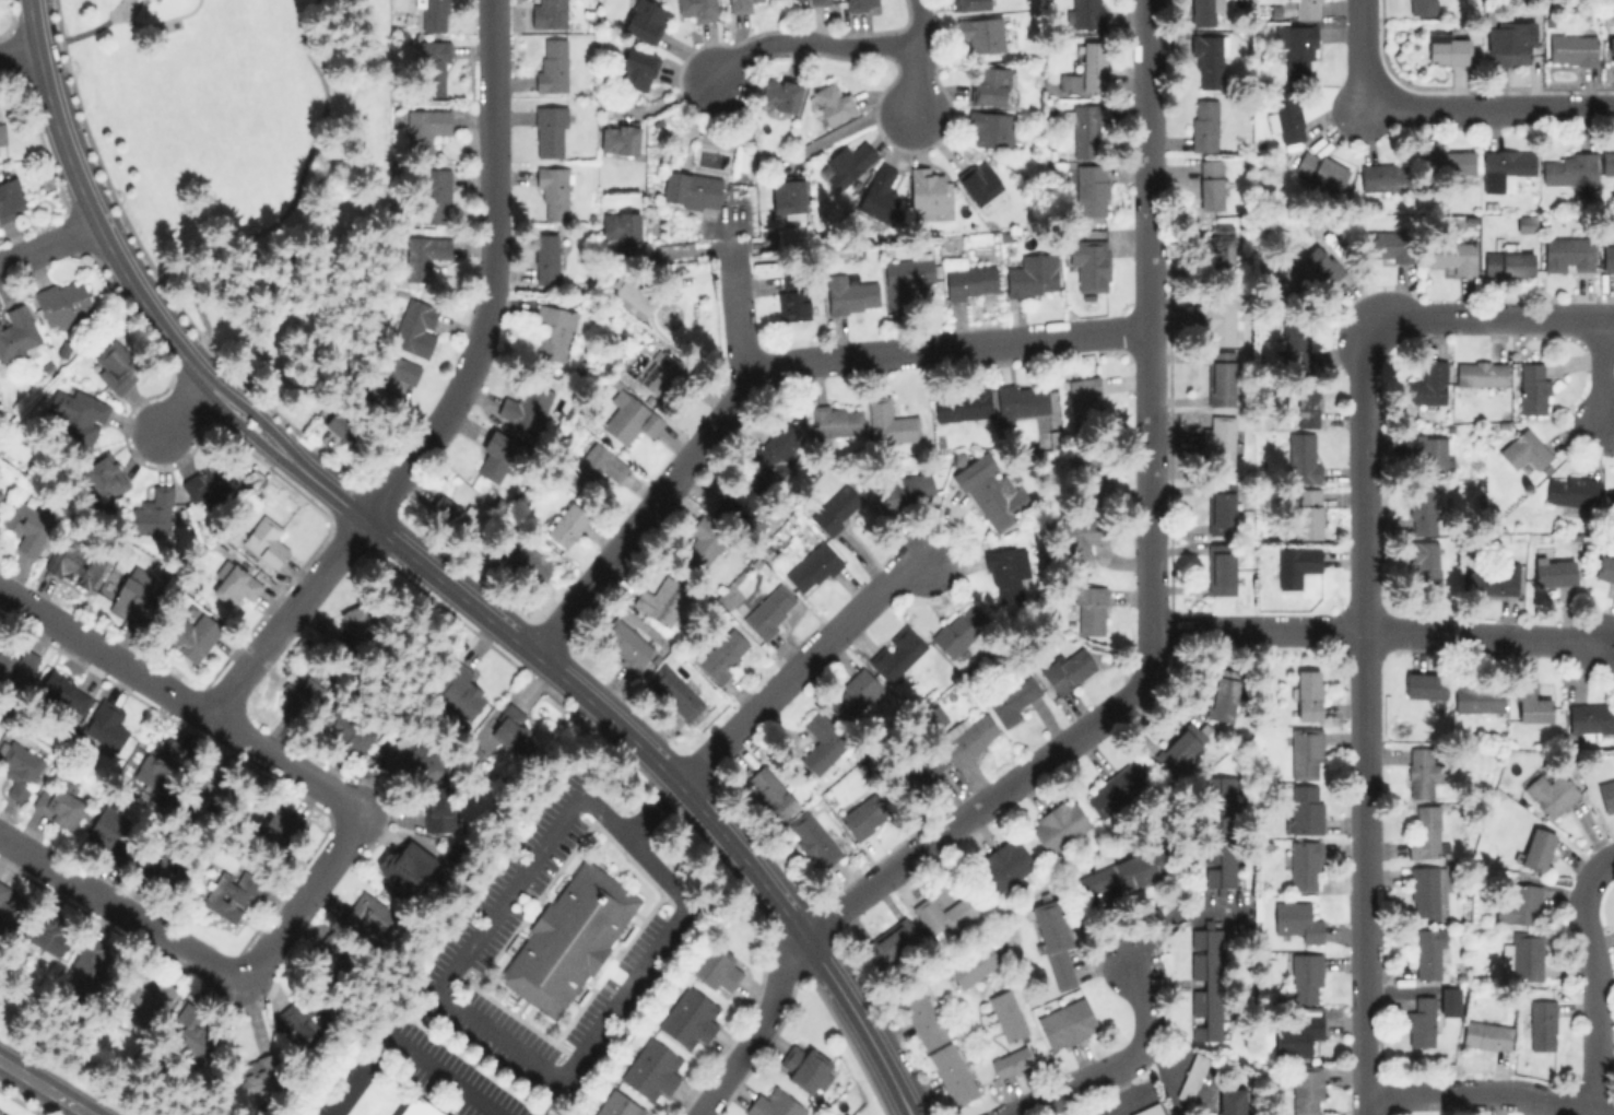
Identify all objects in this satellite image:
building: (809, 1)
building: (740, 4)
building: (859, 4)
building: (970, 4)
building: (1419, 7)
building: (695, 9)
building: (1307, 9)
building: (1203, 11)
building: (552, 12)
building: (1084, 13)
building: (433, 14)
building: (644, 20)
road: (83, 31)
building: (980, 33)
road: (813, 42)
building: (1510, 43)
building: (1296, 45)
building: (1447, 47)
building: (1571, 48)
building: (1611, 49)
road: (1357, 50)
road: (17, 57)
road: (918, 58)
building: (1207, 59)
building: (552, 64)
building: (433, 68)
building: (636, 68)
building: (1086, 70)
road: (1148, 77)
building: (989, 84)
building: (779, 93)
building: (832, 101)
road: (1491, 109)
building: (1287, 115)
building: (1203, 125)
building: (990, 127)
building: (424, 128)
building: (550, 130)
building: (1085, 130)
building: (2, 133)
building: (618, 137)
building: (1607, 161)
building: (1449, 162)
building: (847, 163)
building: (1505, 167)
park: (250, 169)
building: (1320, 169)
building: (1571, 171)
road: (301, 176)
building: (1383, 176)
building: (979, 183)
building: (1210, 183)
building: (1088, 187)
building: (691, 189)
building: (926, 189)
building: (552, 190)
building: (879, 192)
building: (435, 195)
building: (787, 196)
building: (11, 198)
building: (621, 226)
building: (1221, 244)
road: (47, 245)
building: (1388, 245)
building: (1568, 254)
building: (1451, 255)
building: (427, 256)
building: (545, 258)
building: (1607, 258)
building: (1089, 262)
building: (1507, 262)
building: (1318, 266)
building: (1033, 274)
building: (906, 278)
road: (490, 280)
building: (969, 280)
building: (850, 292)
road: (730, 294)
building: (794, 296)
road: (136, 297)
building: (632, 300)
building: (63, 303)
building: (1217, 316)
road: (1489, 316)
building: (416, 327)
building: (16, 331)
building: (551, 332)
building: (1294, 337)
road: (947, 353)
building: (116, 366)
road: (1600, 368)
building: (1221, 373)
building: (1480, 373)
building: (394, 374)
building: (662, 375)
building: (1427, 383)
building: (1532, 387)
road: (1152, 390)
building: (1084, 392)
building: (1022, 400)
building: (962, 403)
building: (526, 404)
building: (1307, 406)
road: (184, 409)
building: (76, 414)
building: (628, 418)
building: (893, 418)
building: (834, 420)
building: (346, 426)
building: (1218, 441)
building: (777, 447)
building: (1427, 449)
building: (1524, 449)
building: (1301, 456)
building: (494, 457)
building: (598, 465)
building: (104, 474)
building: (209, 484)
building: (1093, 485)
building: (904, 490)
building: (1571, 490)
building: (0, 491)
building: (989, 491)
building: (1610, 495)
building: (740, 497)
building: (1221, 507)
building: (1422, 507)
building: (835, 508)
building: (152, 512)
road: (636, 513)
building: (1309, 513)
building: (445, 514)
building: (566, 524)
building: (27, 526)
building: (1083, 535)
building: (264, 541)
building: (702, 542)
building: (1424, 560)
building: (74, 561)
building: (528, 561)
building: (813, 564)
building: (1295, 564)
building: (1221, 567)
building: (1604, 567)
building: (1553, 570)
building: (1006, 571)
building: (1492, 578)
building: (234, 583)
building: (130, 596)
building: (660, 600)
building: (1089, 609)
building: (770, 611)
road: (283, 620)
building: (364, 622)
road: (1257, 631)
building: (954, 634)
building: (192, 635)
road: (1480, 637)
building: (625, 643)
building: (723, 654)
building: (895, 654)
road: (800, 667)
building: (16, 668)
building: (1068, 669)
road: (1145, 673)
building: (1424, 685)
building: (302, 688)
building: (457, 690)
building: (64, 691)
building: (674, 691)
building: (1224, 692)
building: (855, 693)
building: (1307, 693)
building: (1478, 699)
building: (1012, 700)
road: (180, 703)
building: (1532, 705)
building: (1591, 717)
road: (1363, 720)
building: (106, 725)
building: (346, 730)
building: (511, 730)
building: (968, 738)
building: (822, 742)
building: (1177, 750)
building: (1305, 752)
building: (412, 759)
building: (170, 760)
building: (19, 767)
building: (919, 770)
building: (1421, 771)
road: (675, 782)
building: (213, 791)
building: (770, 791)
building: (1111, 793)
building: (1551, 793)
building: (1606, 794)
building: (58, 803)
building: (437, 808)
road: (651, 808)
building: (1304, 809)
building: (864, 815)
road: (959, 821)
building: (282, 824)
building: (110, 825)
building: (1058, 825)
building: (1220, 832)
building: (1425, 833)
building: (813, 840)
building: (1536, 847)
building: (169, 865)
building: (404, 865)
building: (1003, 865)
building: (1304, 865)
road: (1598, 866)
building: (1121, 872)
building: (1427, 891)
building: (231, 894)
building: (1519, 904)
building: (7, 909)
road: (1176, 913)
building: (944, 915)
building: (368, 917)
building: (1296, 920)
road: (668, 925)
building: (49, 936)
building: (568, 940)
building: (1053, 940)
parking lot: (470, 941)
building: (514, 944)
building: (887, 944)
building: (1430, 951)
road: (464, 954)
building: (1522, 955)
building: (337, 956)
building: (94, 963)
building: (974, 964)
road: (208, 966)
building: (718, 967)
building: (1305, 977)
building: (1205, 978)
building: (148, 996)
road: (1599, 996)
building: (1449, 1000)
building: (1006, 1014)
building: (688, 1017)
building: (301, 1018)
building: (922, 1018)
building: (1065, 1022)
building: (1419, 1022)
building: (1541, 1024)
road: (756, 1028)
building: (196, 1032)
building: (1486, 1034)
building: (1297, 1035)
road: (404, 1048)
road: (475, 1057)
building: (1011, 1060)
building: (802, 1065)
road: (1120, 1066)
building: (651, 1069)
building: (952, 1072)
building: (1191, 1076)
building: (258, 1079)
road: (45, 1087)
building: (1306, 1089)
road: (1491, 1091)
road: (1130, 1099)
building: (1232, 1101)
building: (774, 1103)
building: (616, 1105)
building: (416, 1107)
building: (1147, 1110)

